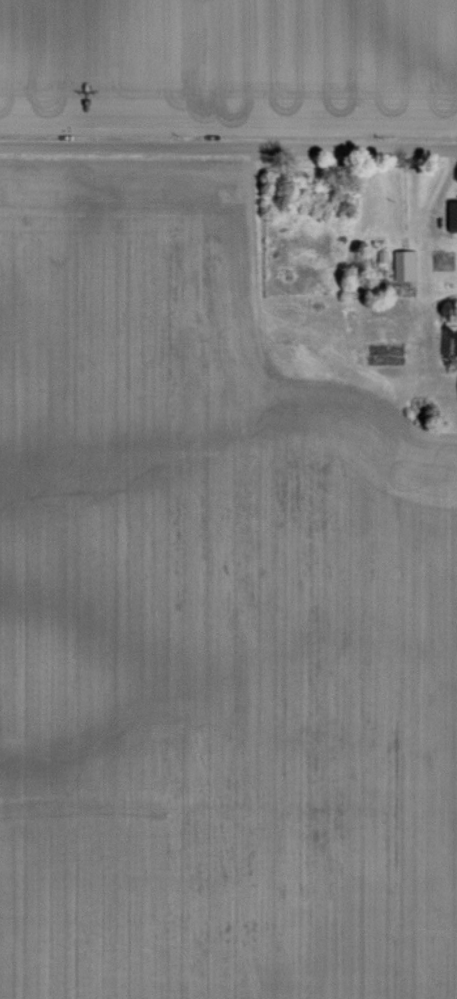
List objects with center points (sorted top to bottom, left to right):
road: (228, 158)
building: (402, 265)

